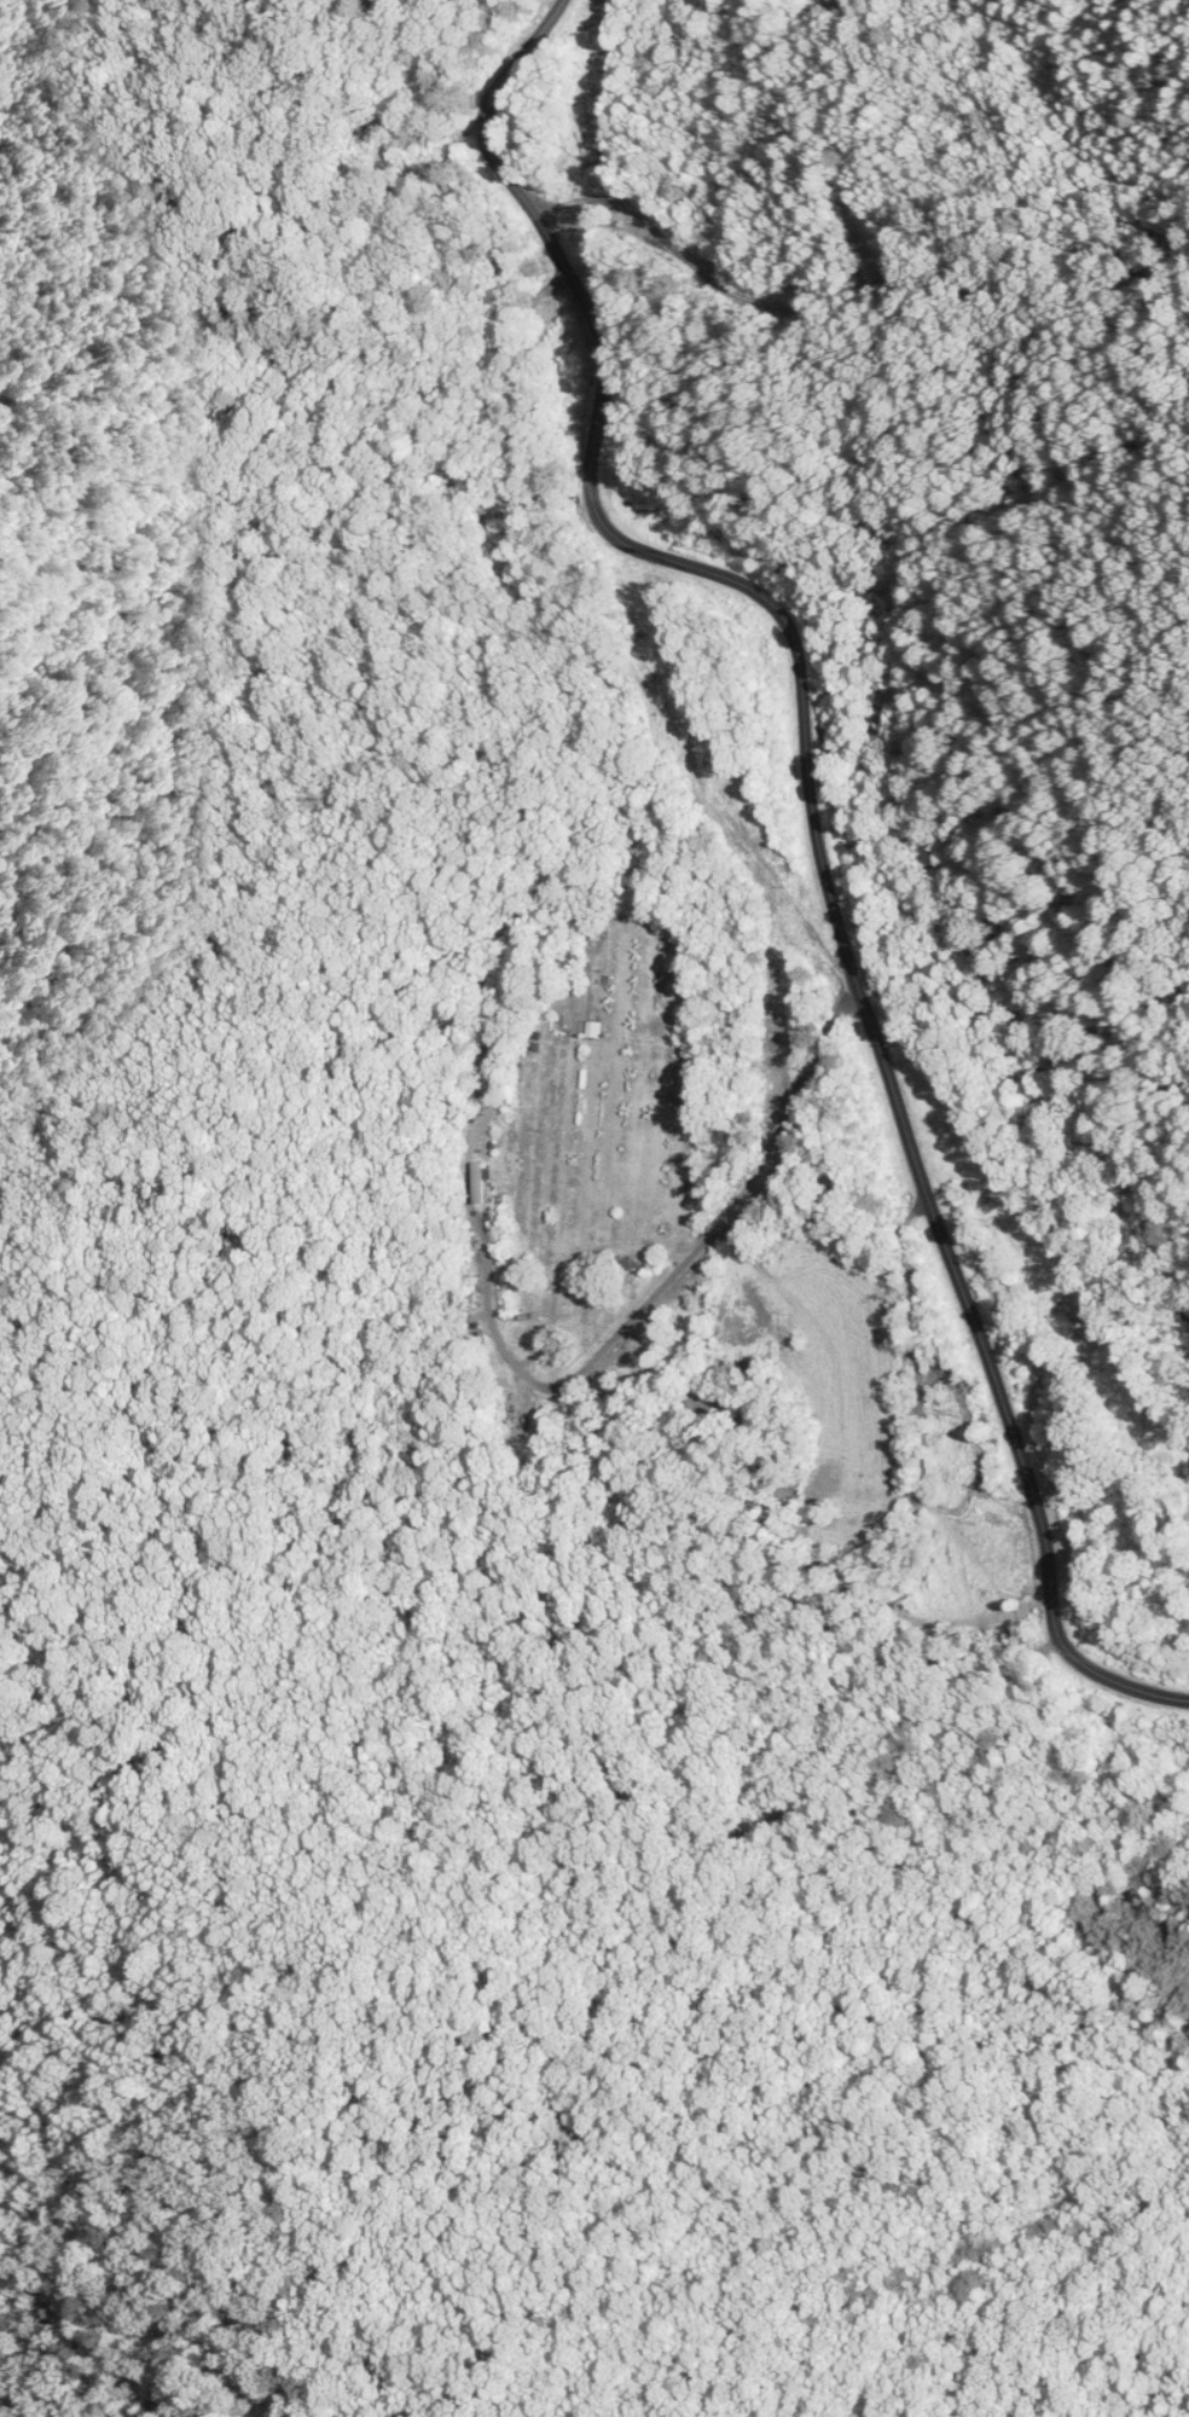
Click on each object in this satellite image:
road: (485, 138)
road: (691, 265)
road: (853, 981)
building: (475, 1086)
building: (478, 1182)
road: (668, 1280)

